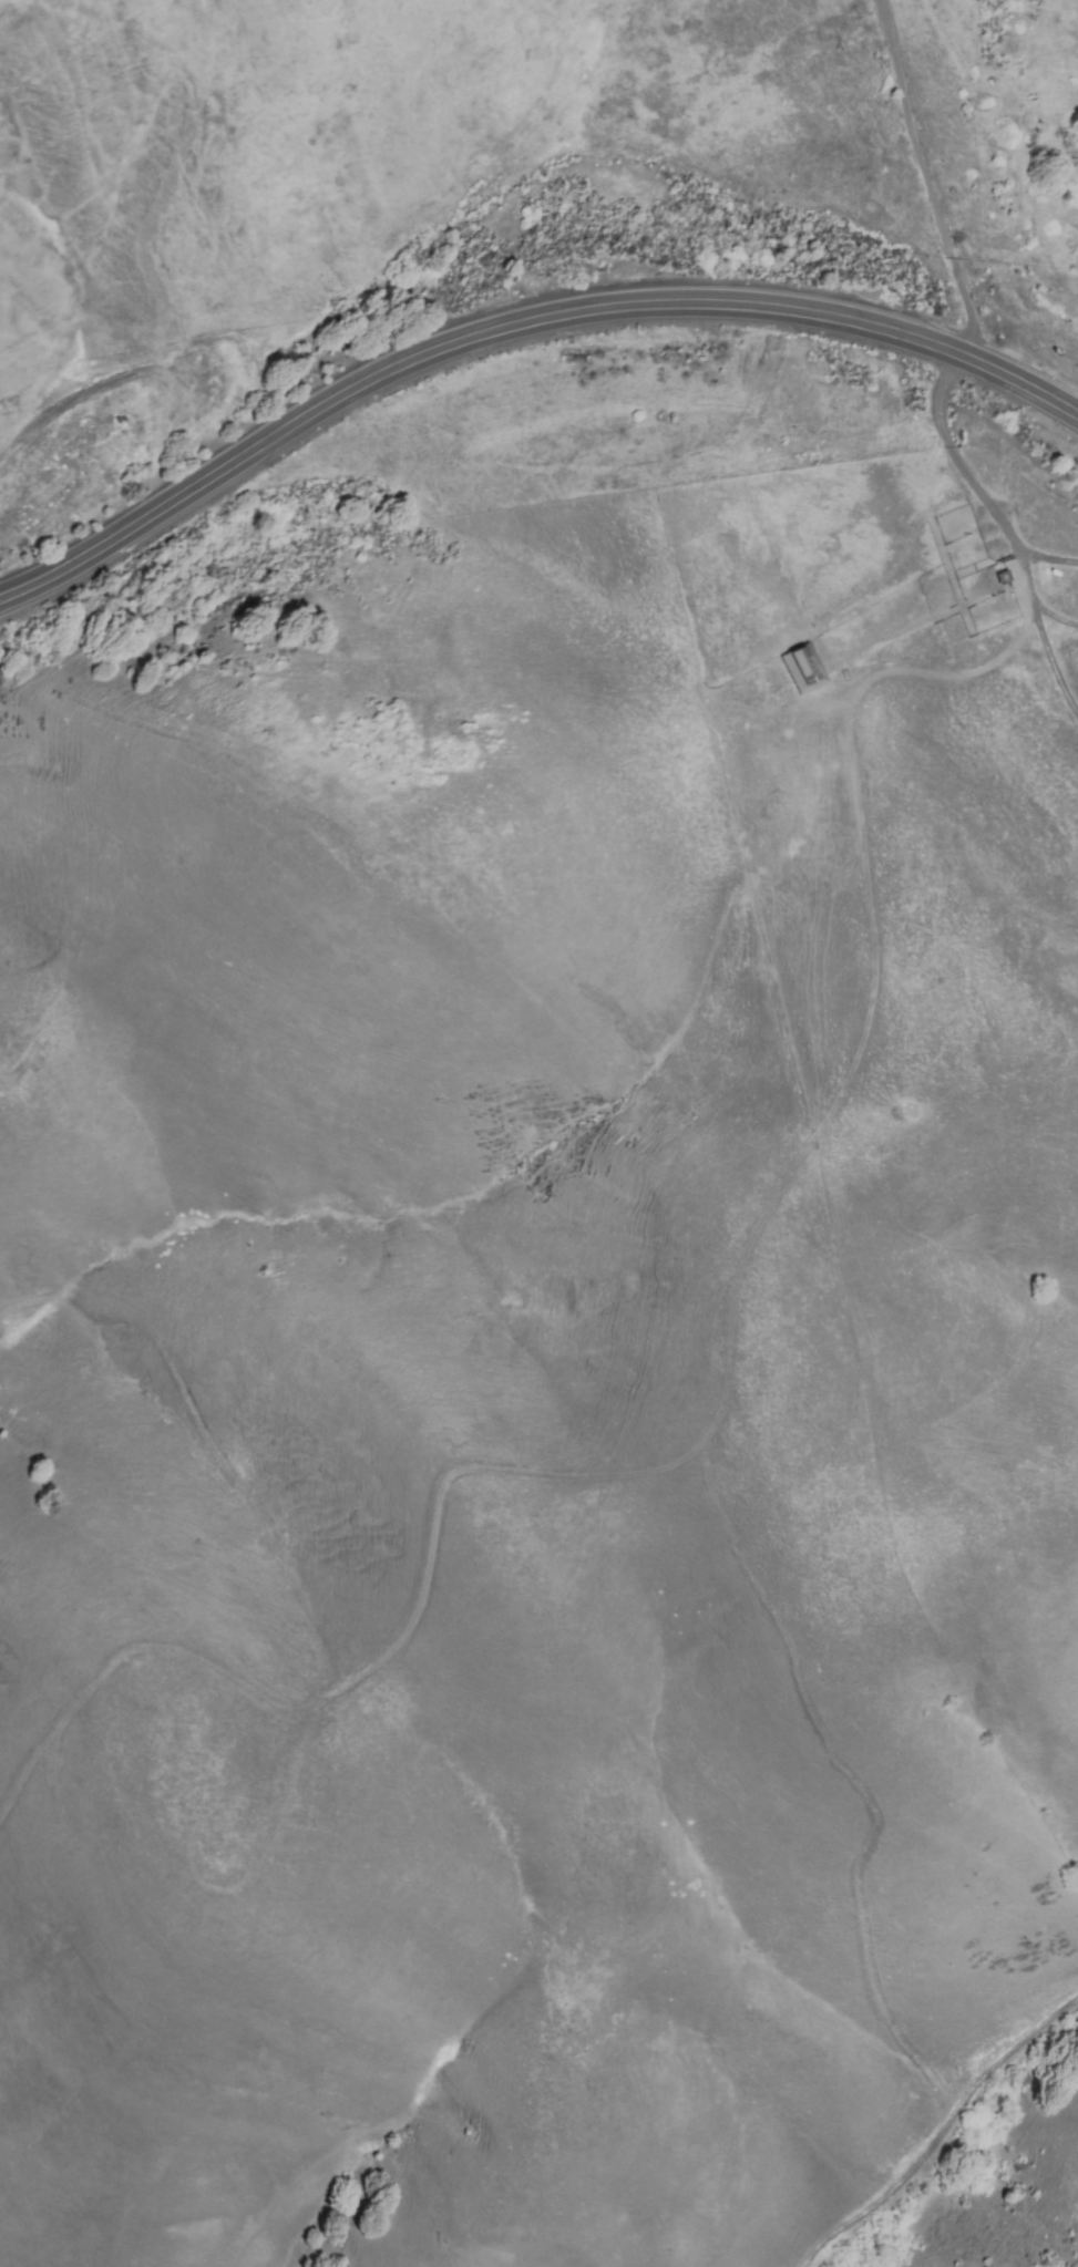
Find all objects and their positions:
road: (926, 178)
road: (514, 322)
road: (1007, 527)
road: (904, 568)
building: (802, 668)
road: (942, 2137)

